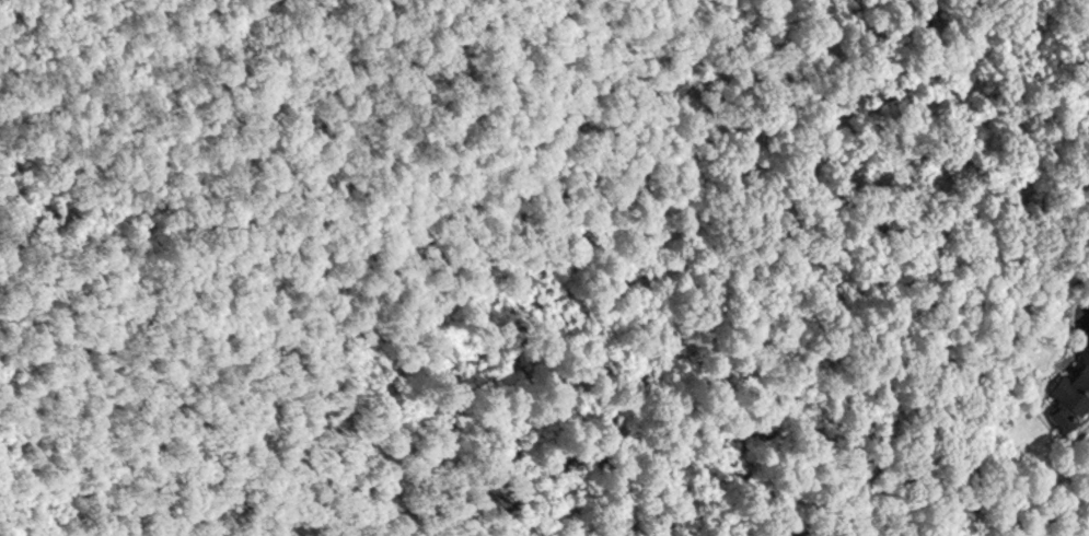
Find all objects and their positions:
building: (1071, 384)

